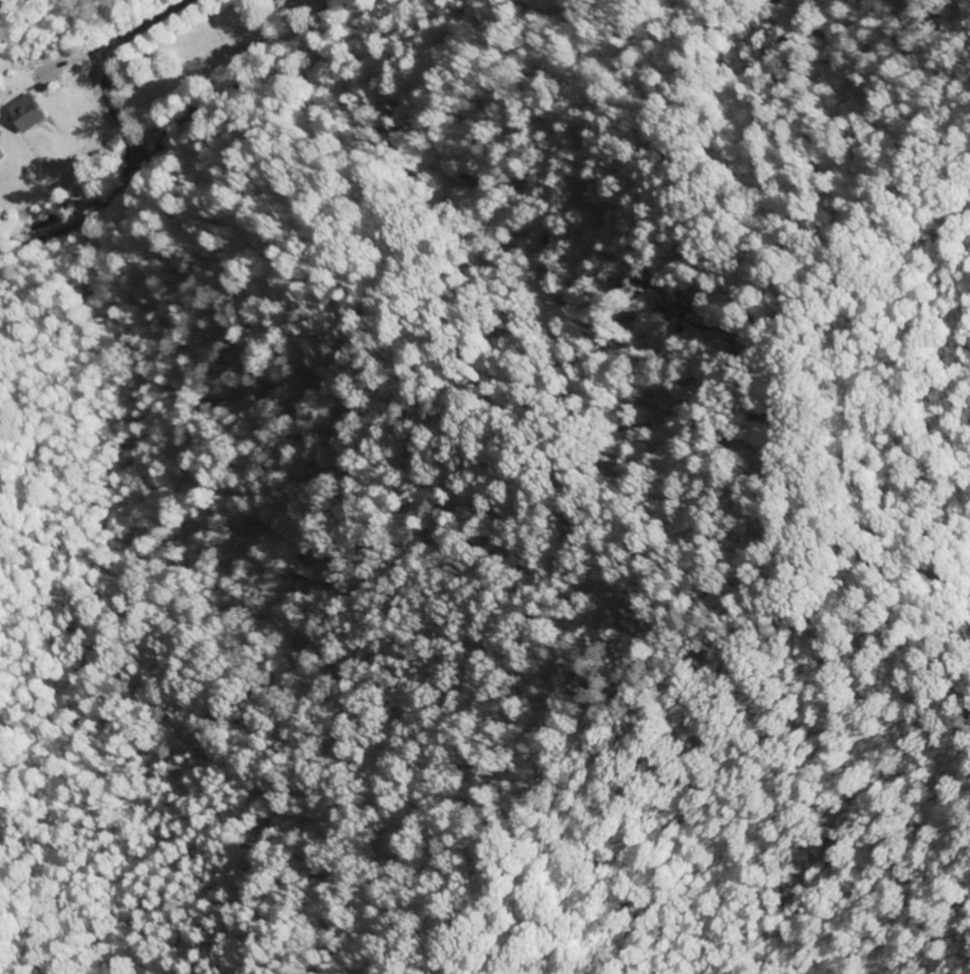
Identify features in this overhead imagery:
building: (288, 1)
building: (252, 52)
building: (29, 112)
road: (129, 143)

